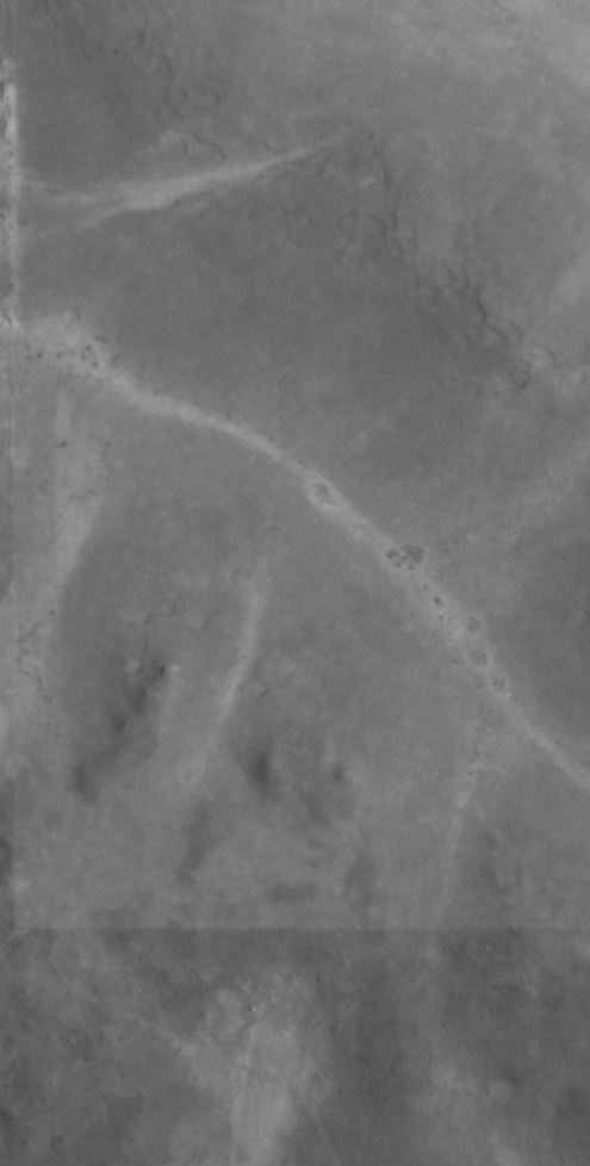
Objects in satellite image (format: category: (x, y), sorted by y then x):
road: (269, 1084)

